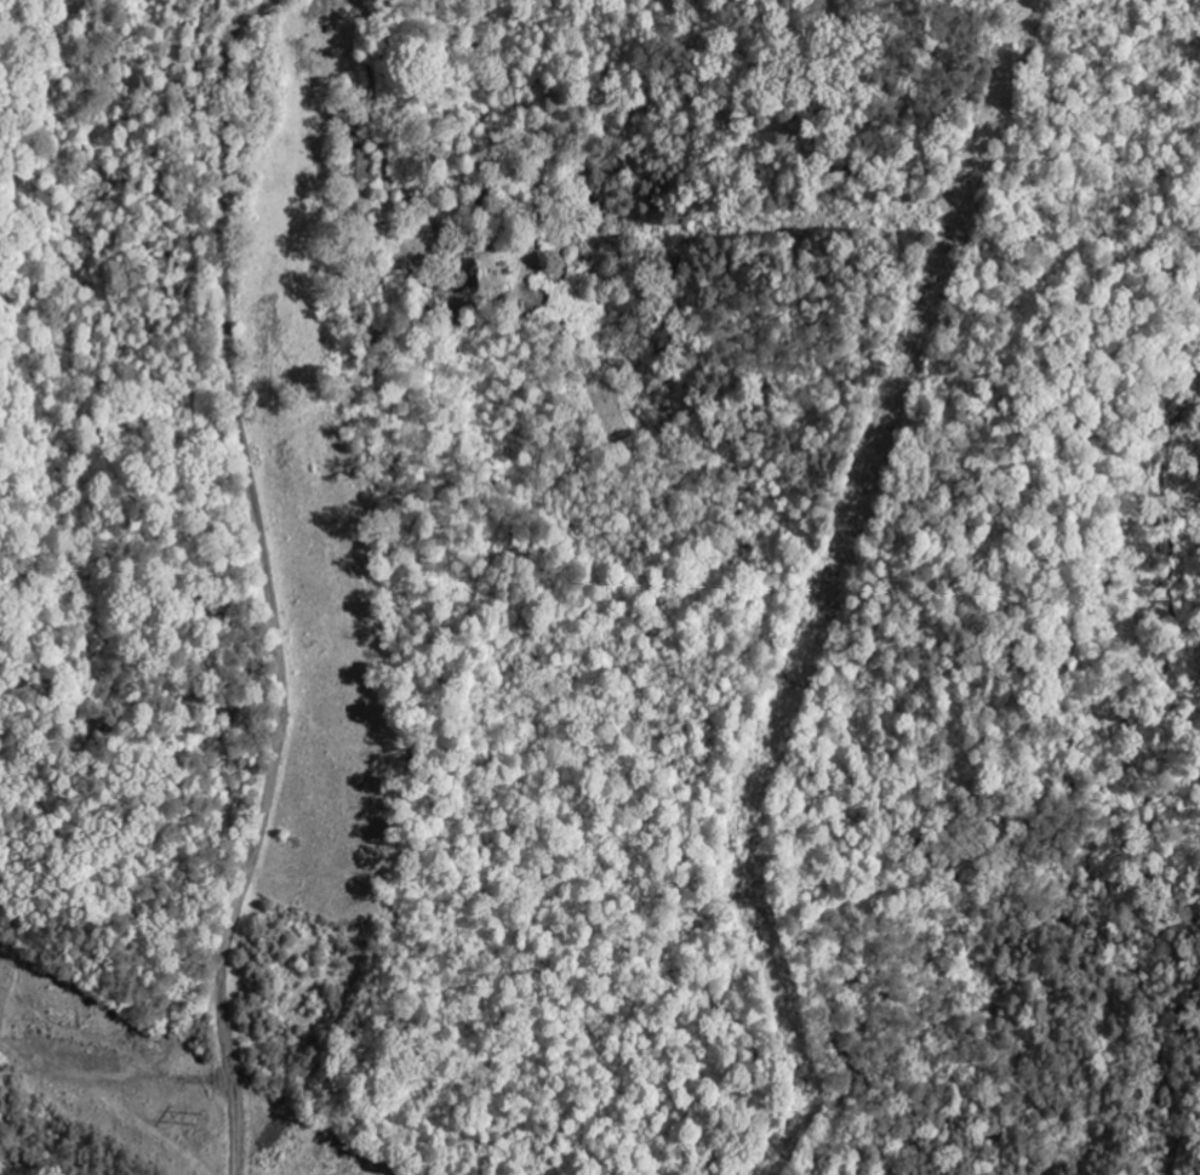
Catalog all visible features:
road: (707, 574)
power tower: (224, 1112)

